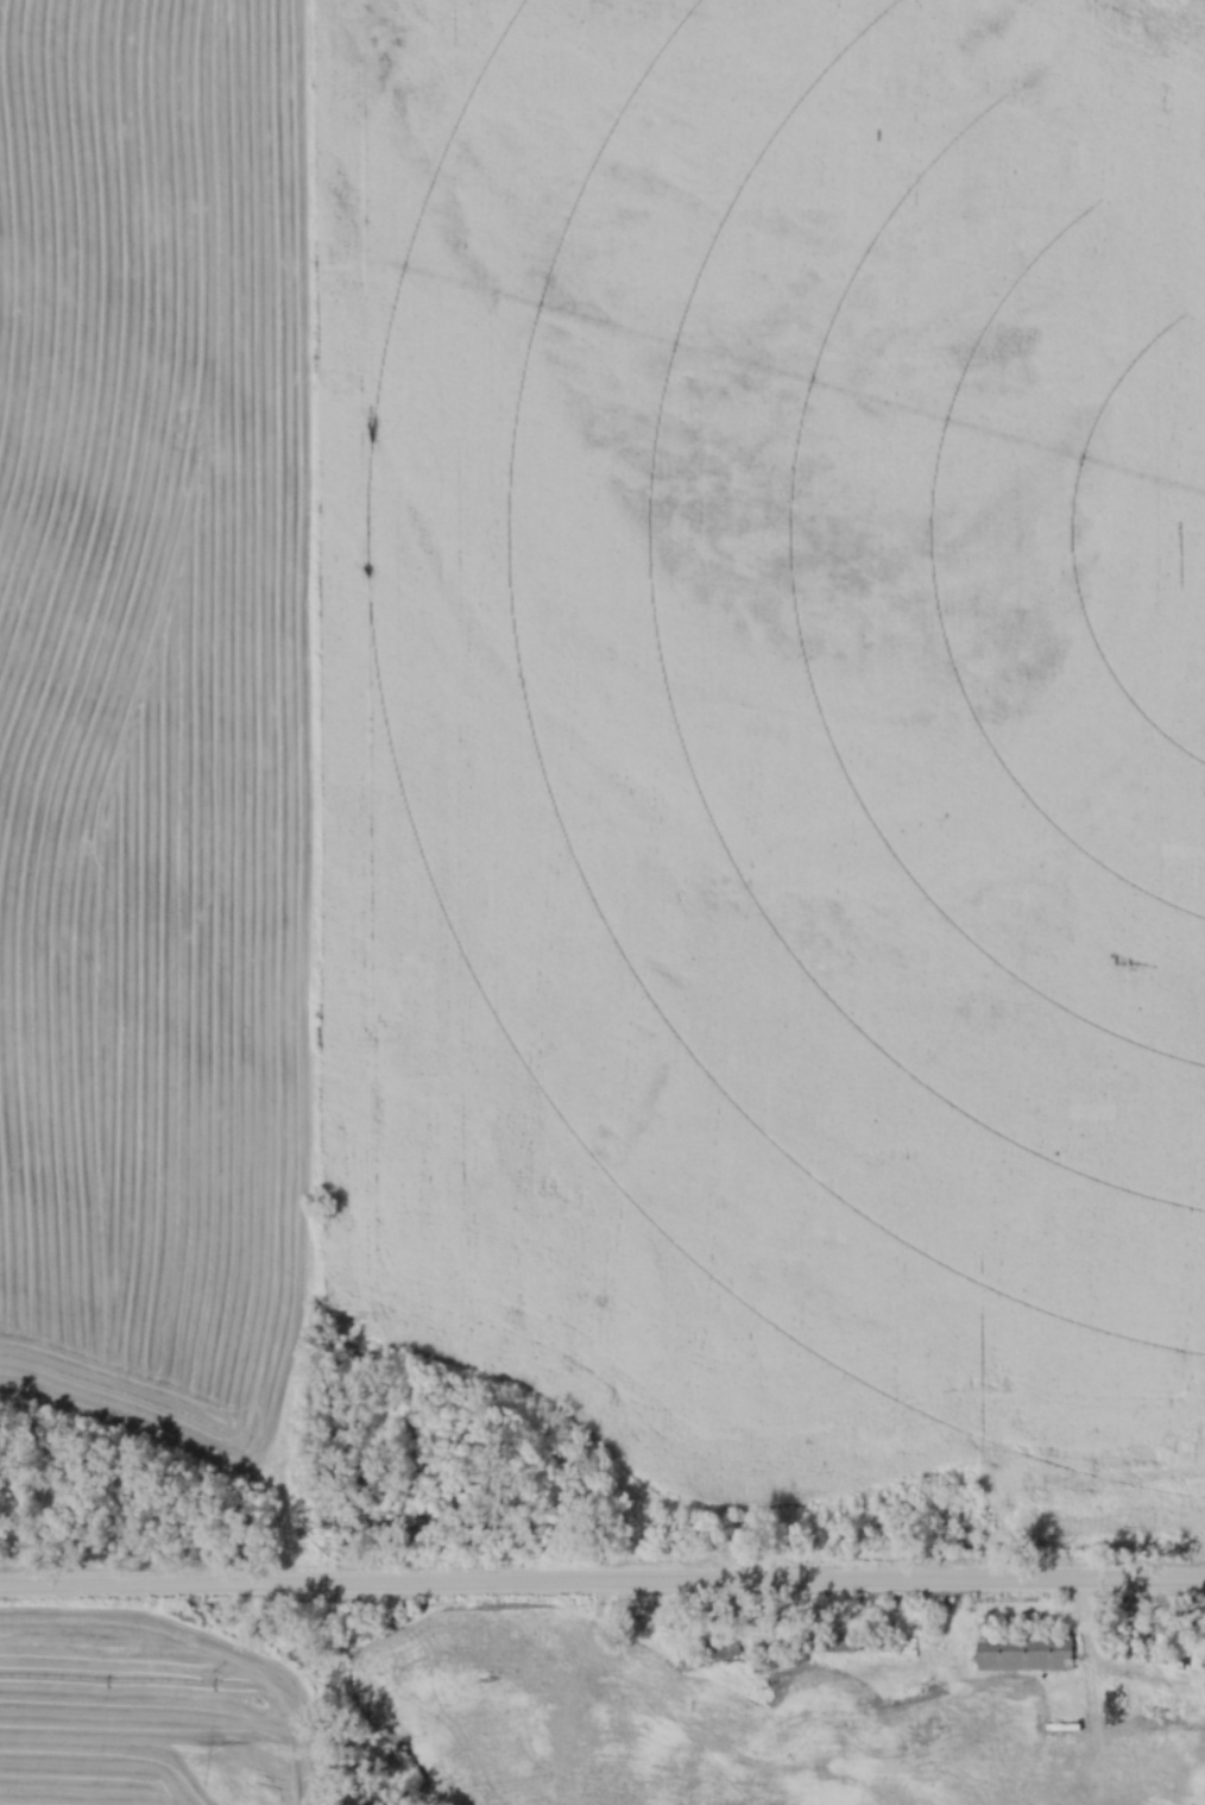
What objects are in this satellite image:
road: (601, 1583)
building: (881, 1646)
building: (1018, 1653)
building: (706, 1659)
road: (1178, 1681)
building: (1143, 1759)

